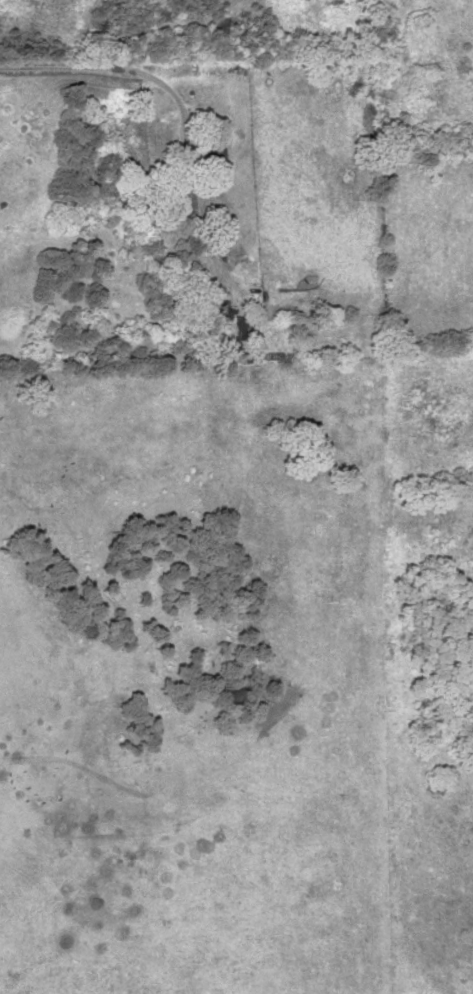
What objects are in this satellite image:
building: (217, 146)
road: (174, 180)
building: (235, 323)

